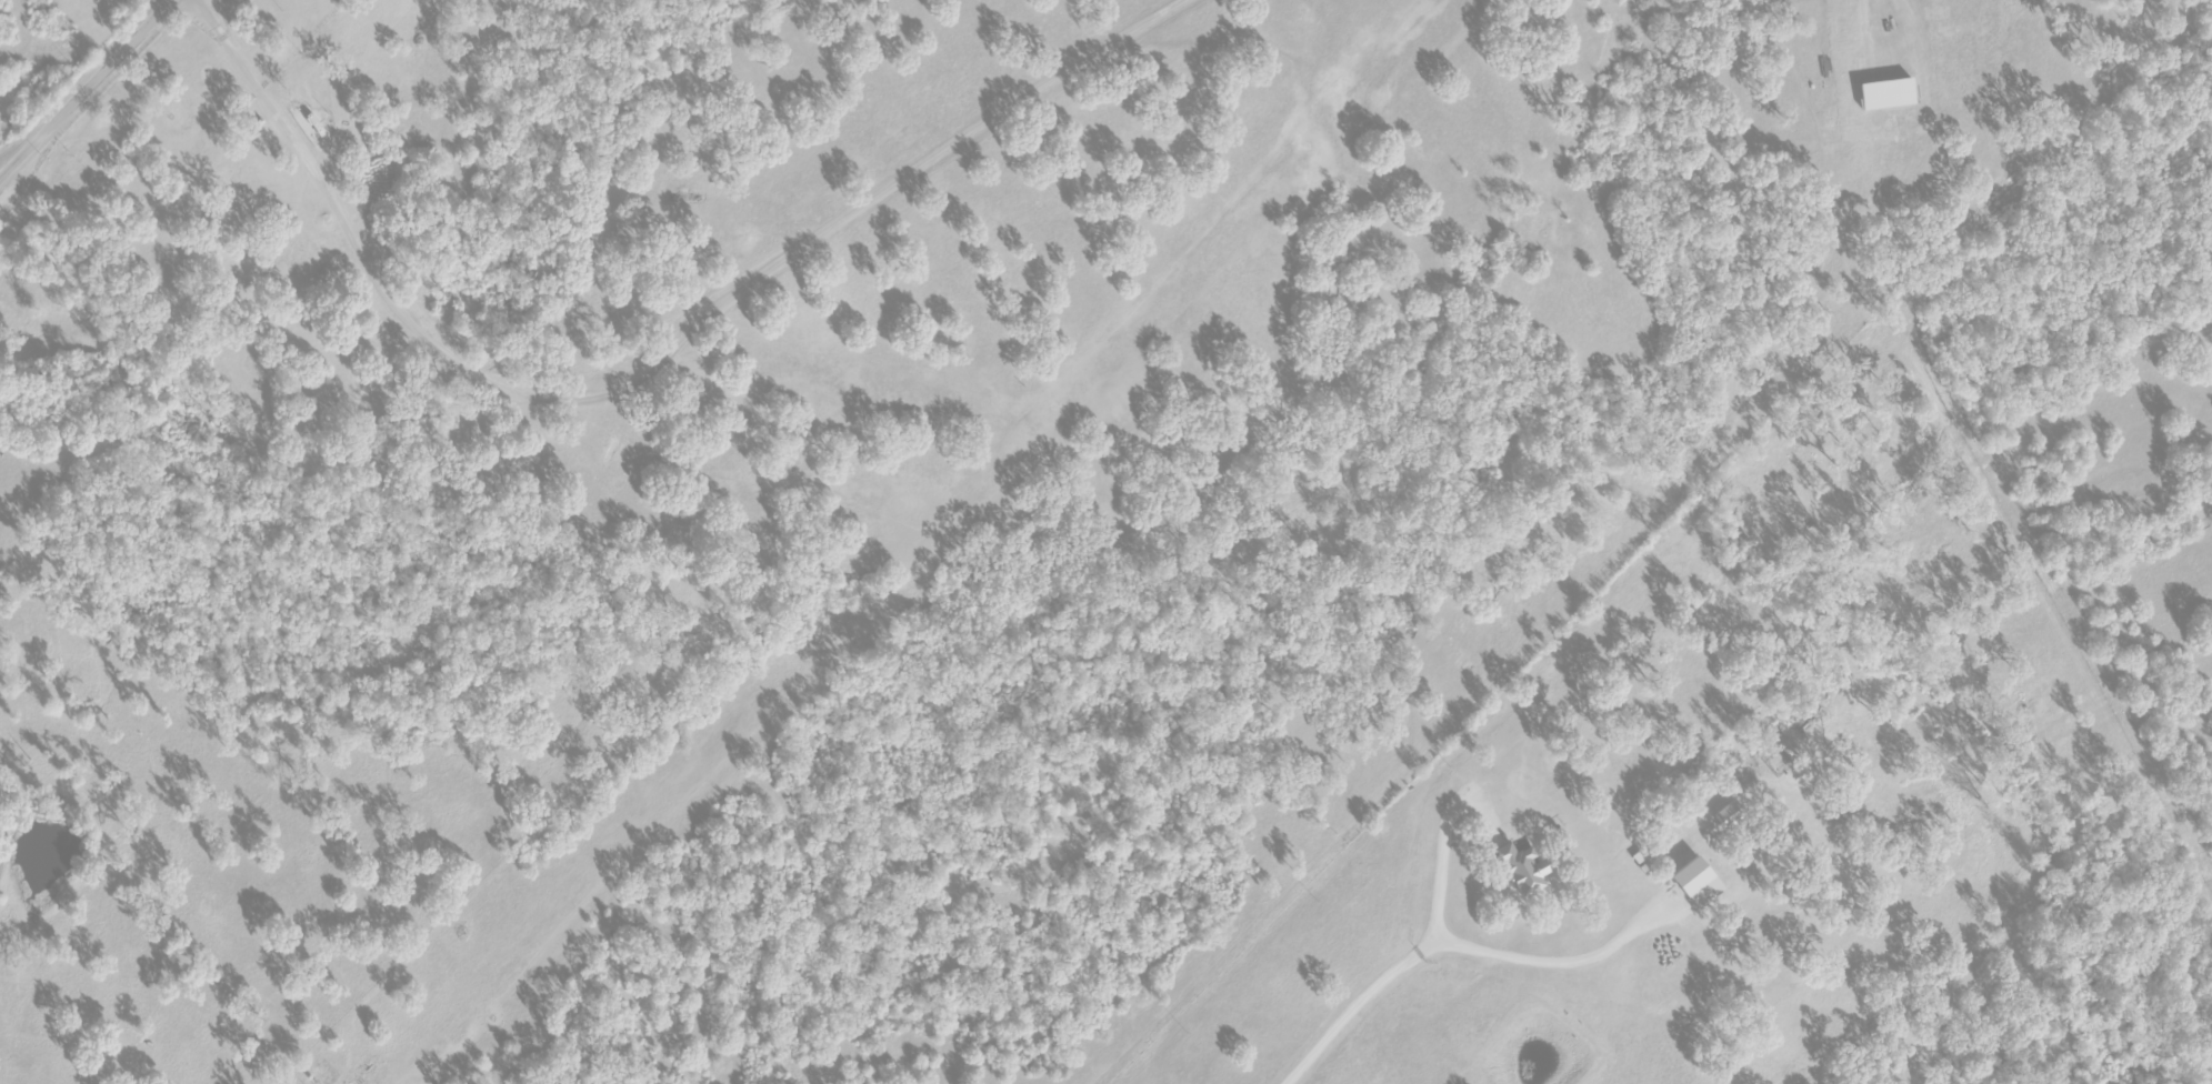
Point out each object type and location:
road: (87, 88)

